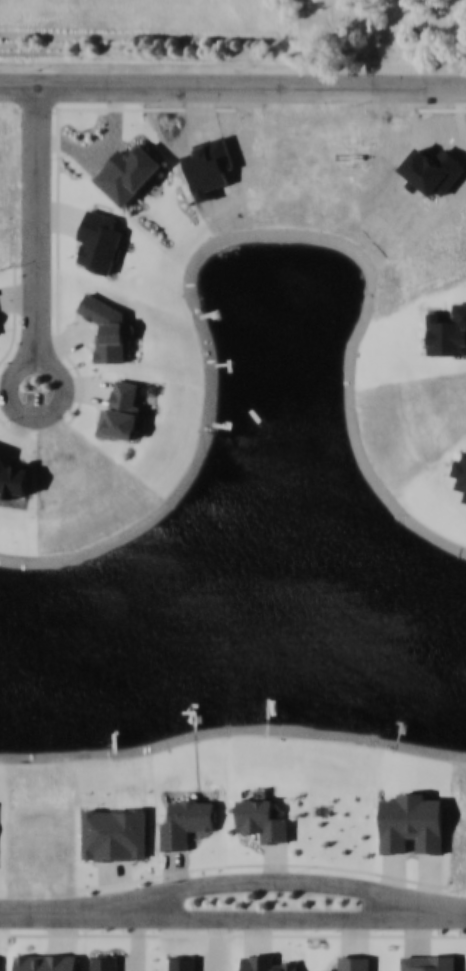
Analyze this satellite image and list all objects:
road: (232, 44)
road: (232, 92)
road: (74, 144)
building: (128, 172)
road: (61, 218)
road: (36, 239)
building: (100, 243)
building: (108, 327)
road: (71, 344)
road: (65, 349)
road: (17, 384)
road: (74, 390)
building: (124, 412)
road: (3, 419)
building: (461, 476)
building: (262, 818)
building: (185, 827)
building: (414, 828)
building: (114, 832)
road: (283, 862)
road: (189, 871)
road: (178, 872)
road: (123, 881)
road: (275, 882)
road: (2, 892)
road: (42, 913)
road: (275, 921)
road: (64, 932)
road: (43, 935)
road: (313, 935)
road: (421, 935)
road: (259, 936)
road: (360, 936)
road: (217, 952)
building: (49, 960)
building: (356, 961)
building: (0, 962)
building: (184, 962)
building: (268, 962)
building: (429, 962)

